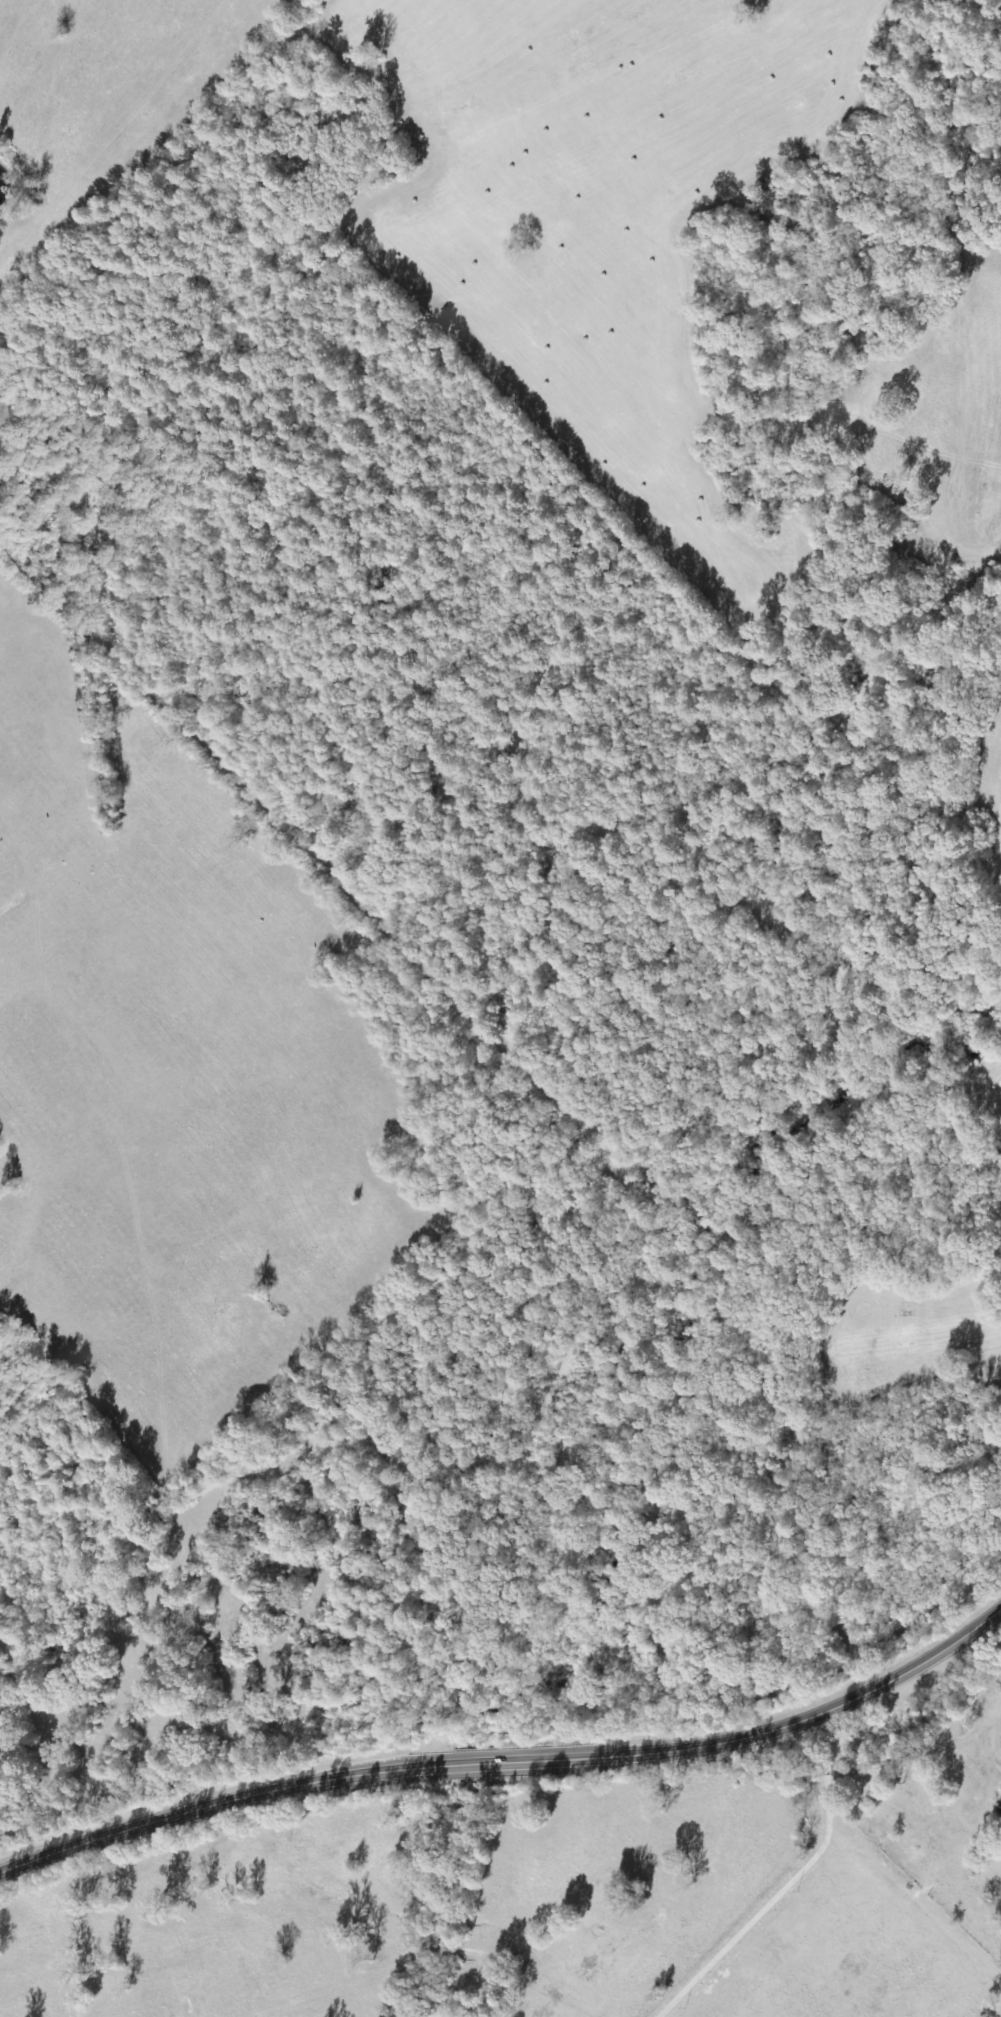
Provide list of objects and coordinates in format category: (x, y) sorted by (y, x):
road: (510, 1764)
road: (801, 1782)
road: (812, 1877)

